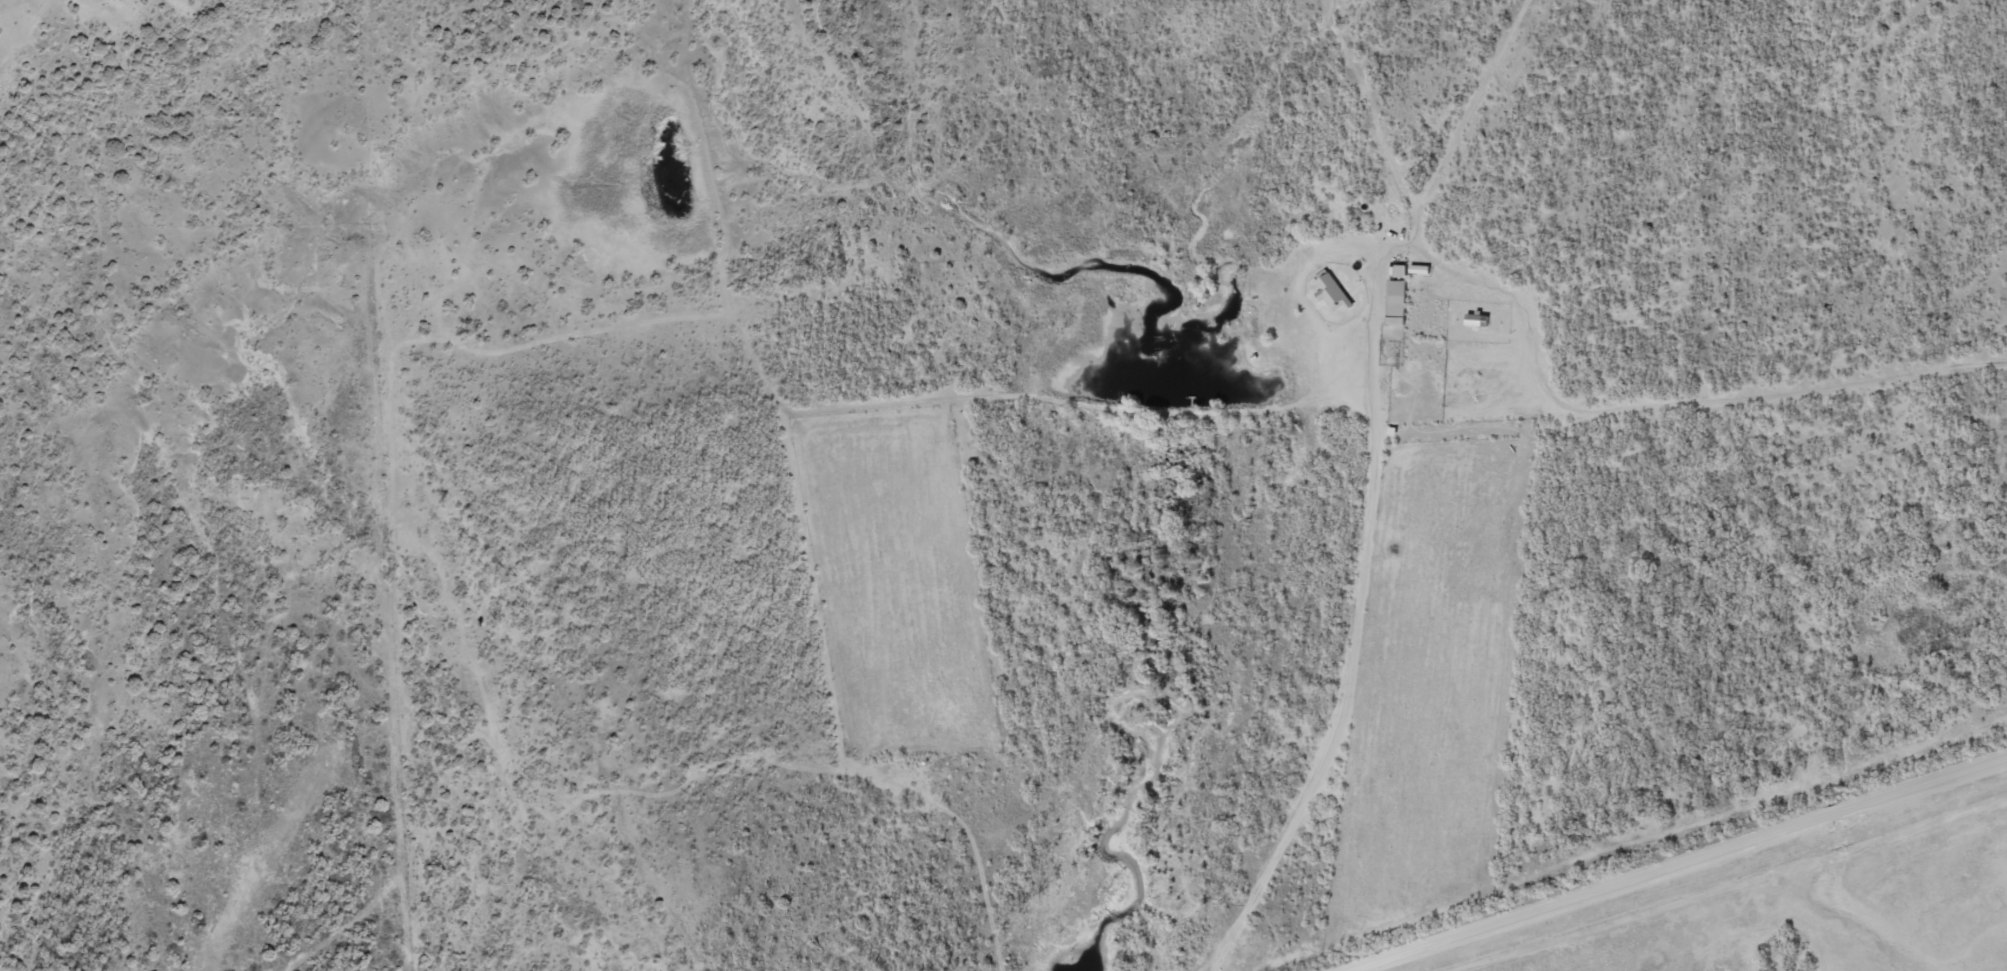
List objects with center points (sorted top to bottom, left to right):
building: (1333, 290)
building: (1399, 302)
road: (1678, 862)

